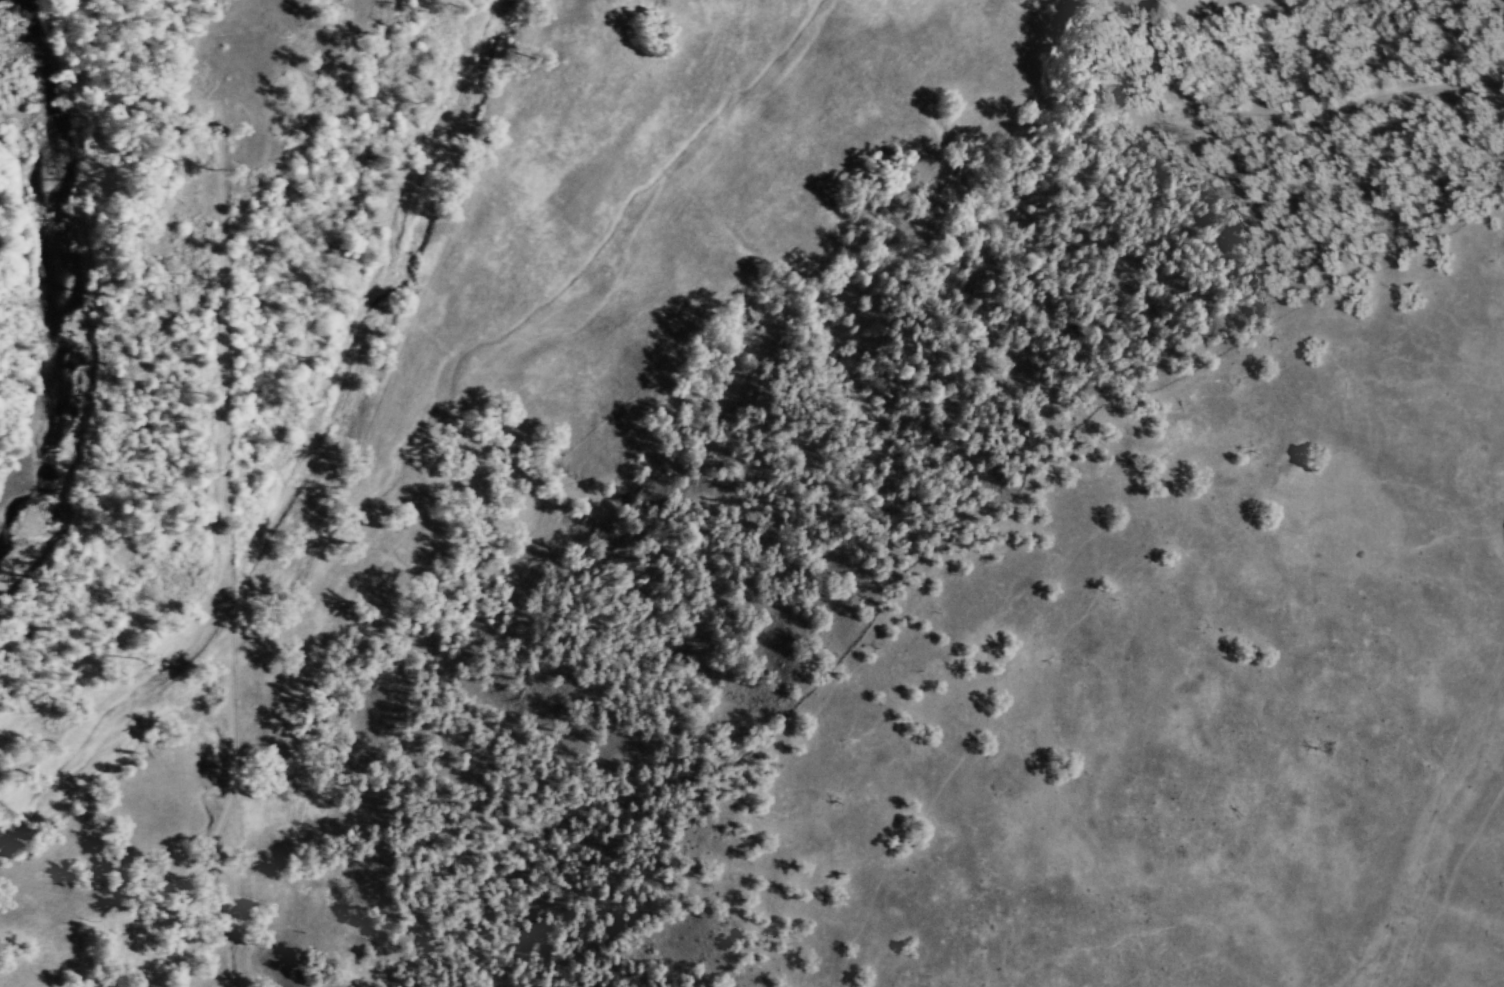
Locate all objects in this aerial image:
road: (1301, 120)
river: (56, 264)

